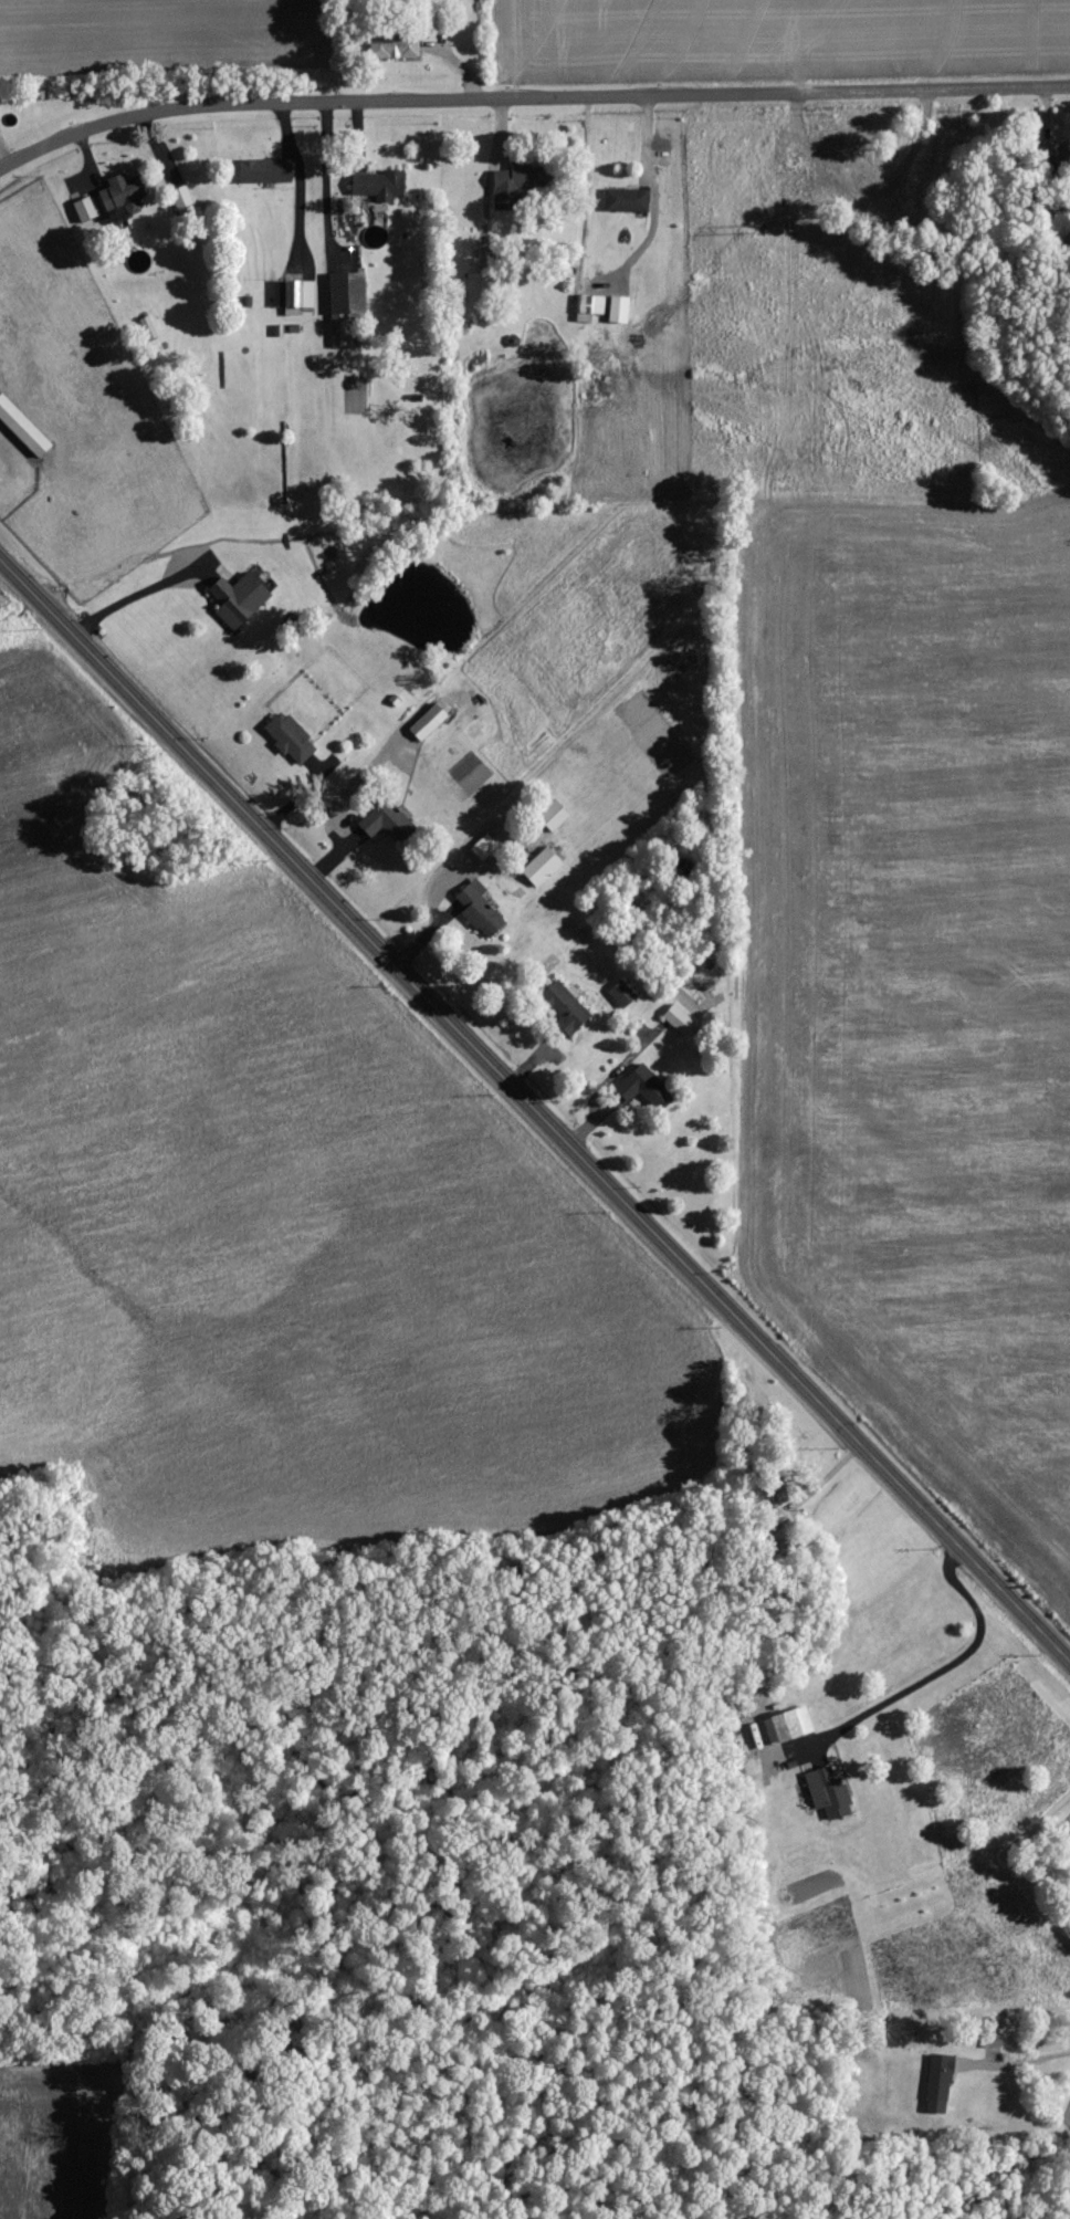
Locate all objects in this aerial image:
building: (395, 48)
road: (529, 96)
building: (266, 170)
road: (329, 181)
road: (296, 182)
building: (379, 184)
building: (506, 188)
building: (123, 193)
building: (182, 198)
building: (628, 199)
building: (85, 209)
building: (475, 286)
building: (294, 292)
building: (589, 305)
building: (148, 326)
building: (23, 426)
road: (135, 592)
building: (240, 596)
building: (429, 721)
building: (290, 736)
building: (386, 819)
building: (542, 865)
building: (480, 908)
building: (622, 993)
building: (565, 1006)
building: (679, 1018)
building: (641, 1087)
road: (533, 1109)
road: (772, 1551)
building: (789, 1725)
building: (829, 1792)
road: (1019, 2058)
building: (938, 2083)

